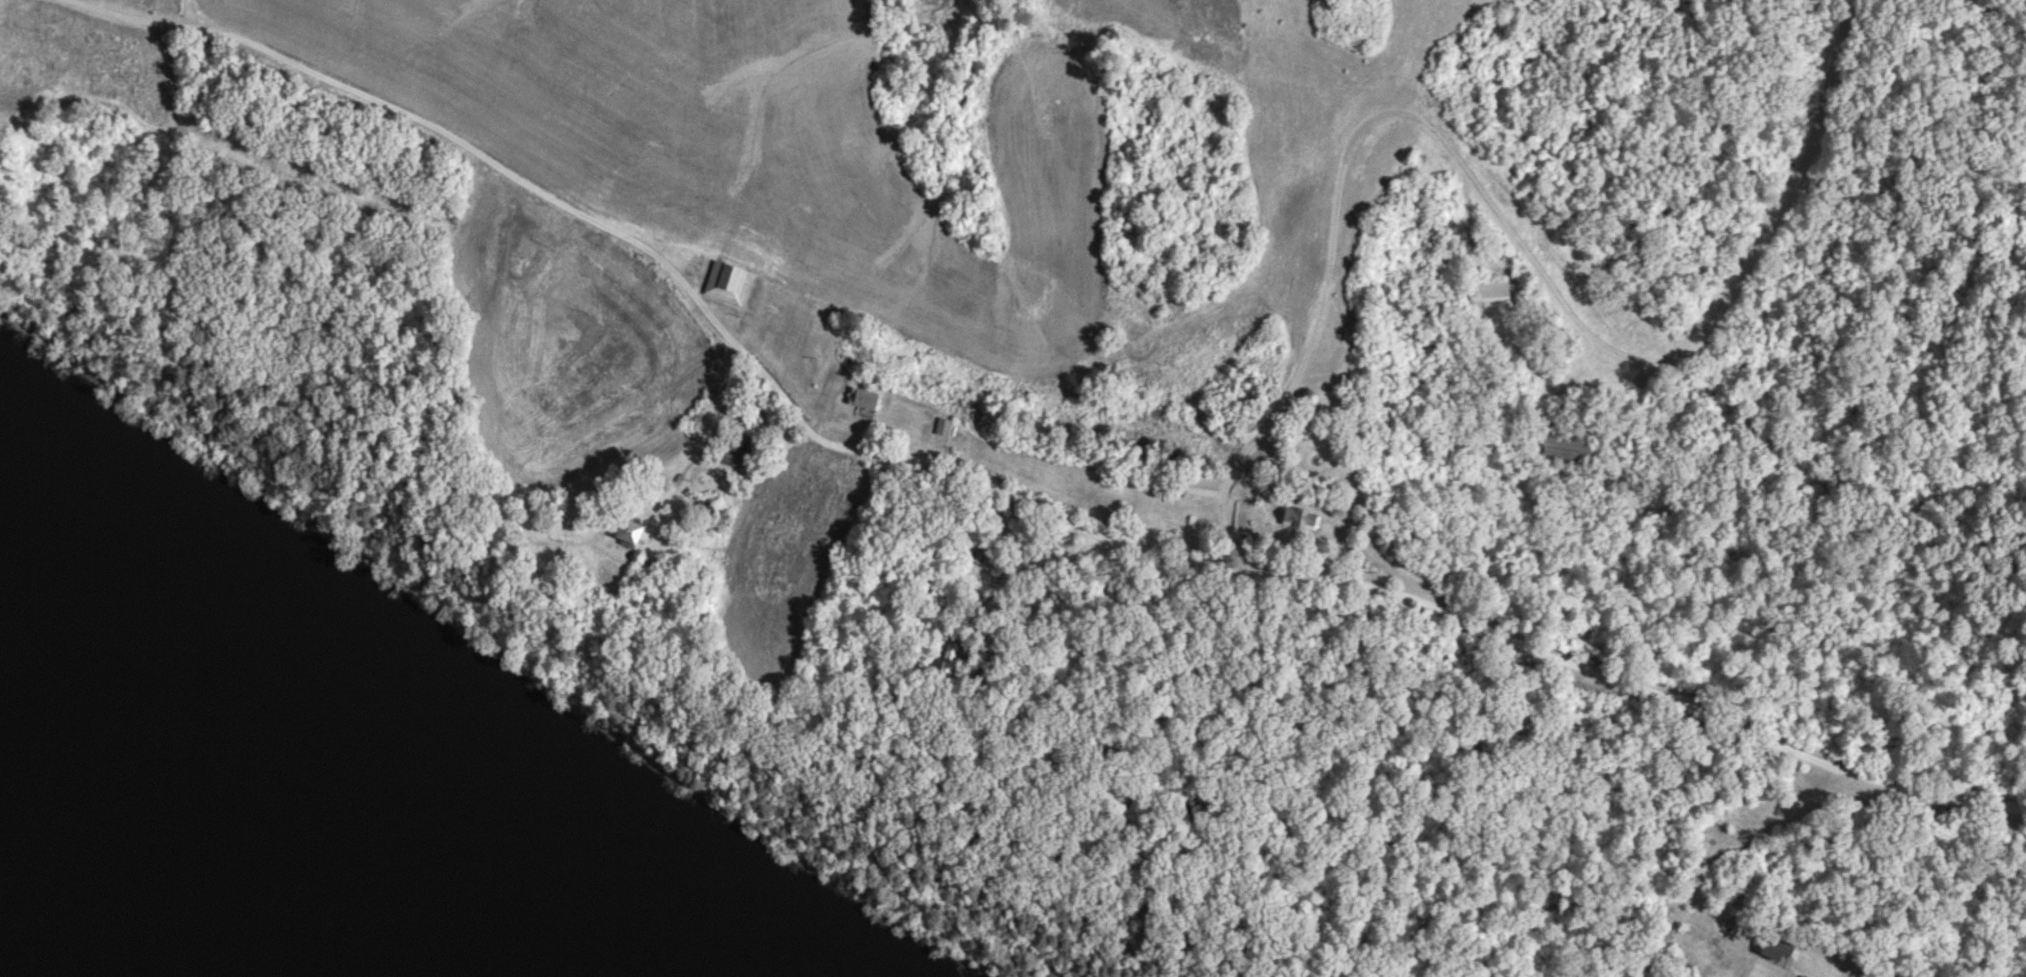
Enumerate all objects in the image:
crop: (155, 6)
road: (280, 55)
road: (1493, 212)
building: (727, 281)
building: (1486, 290)
crop: (564, 340)
building: (863, 397)
building: (943, 425)
building: (1563, 447)
building: (731, 452)
road: (743, 454)
building: (1203, 484)
building: (1302, 517)
building: (629, 532)
building: (983, 555)
road: (1201, 562)
building: (957, 647)
building: (1771, 949)
road: (1749, 973)
building: (1799, 976)

